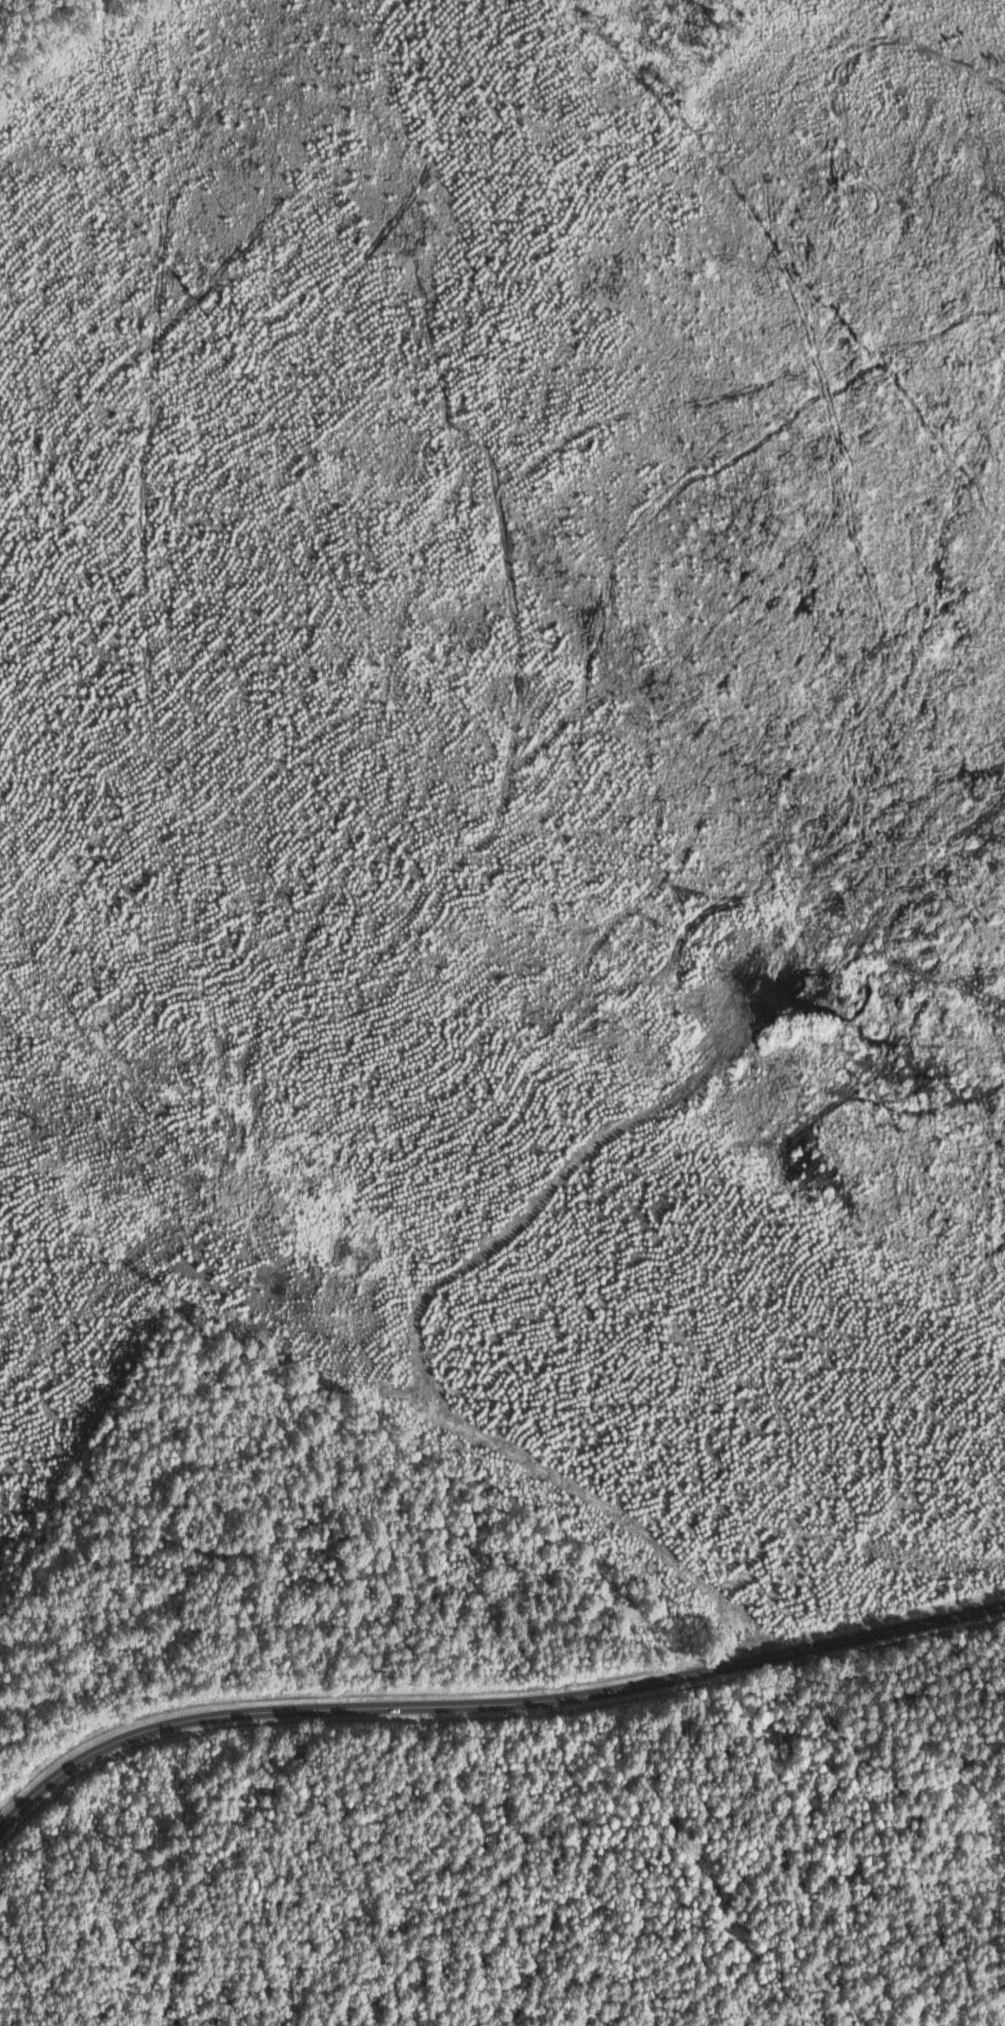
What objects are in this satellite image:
road: (490, 1706)

